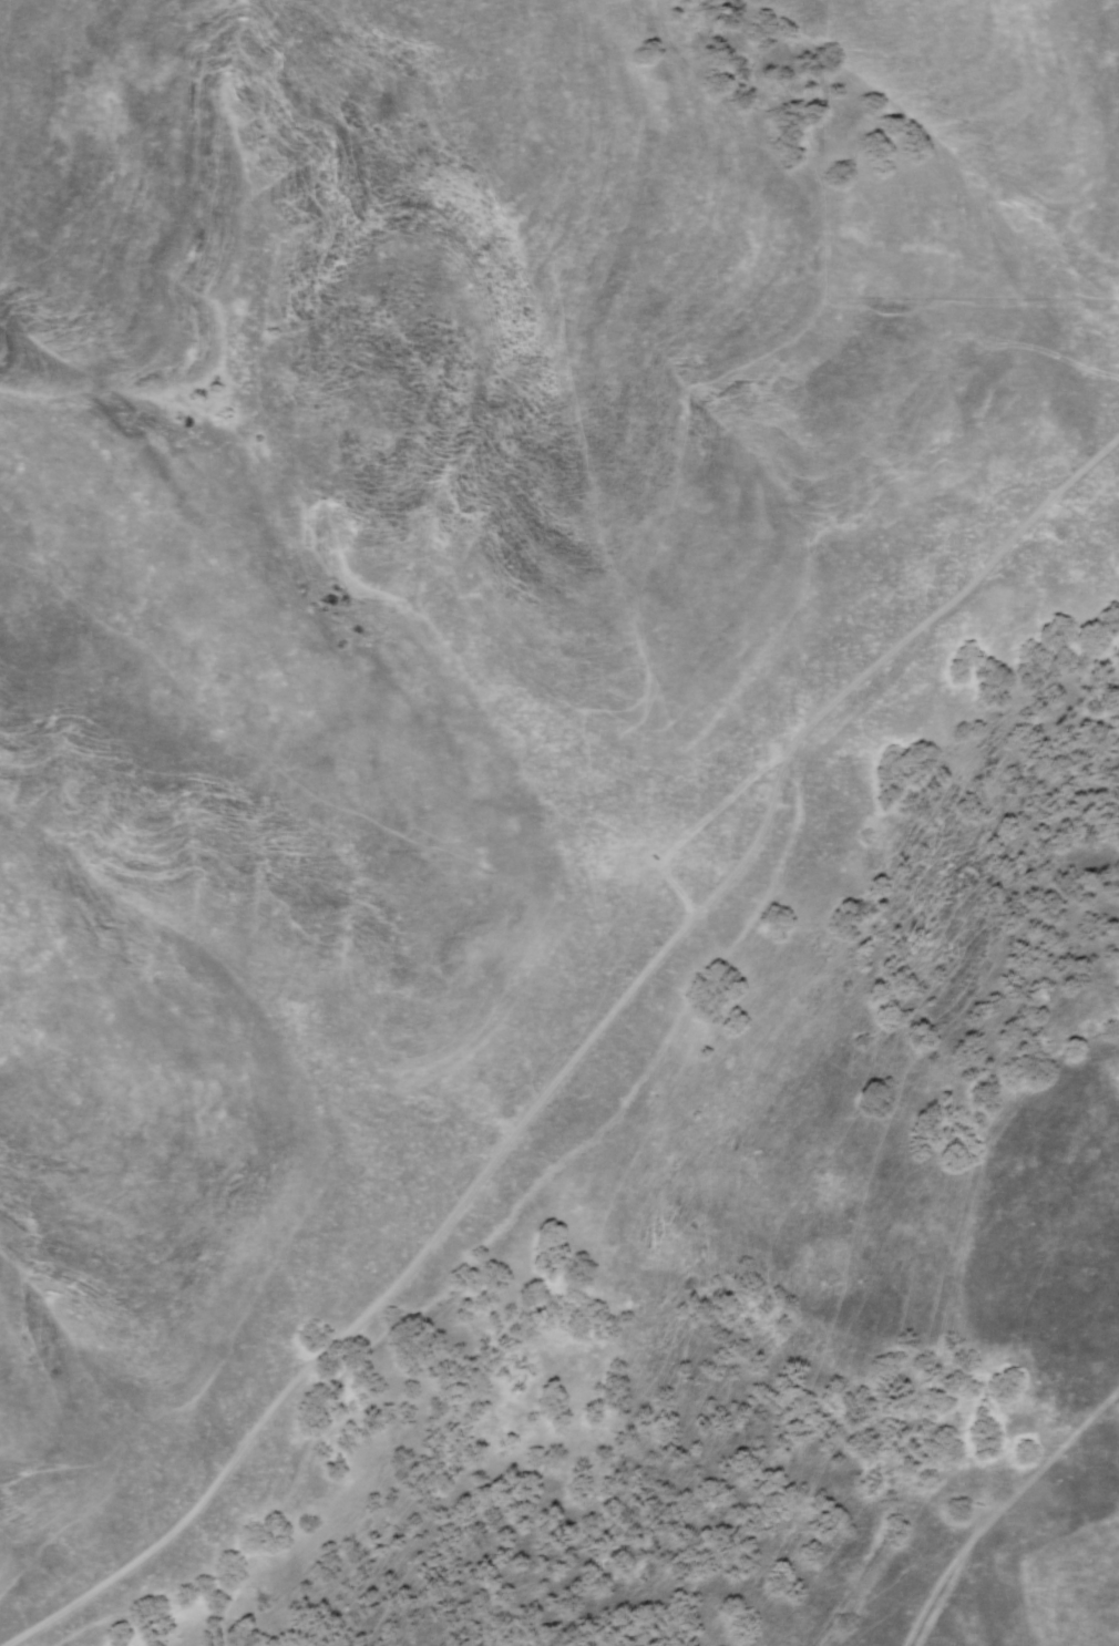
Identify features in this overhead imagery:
road: (577, 1053)

